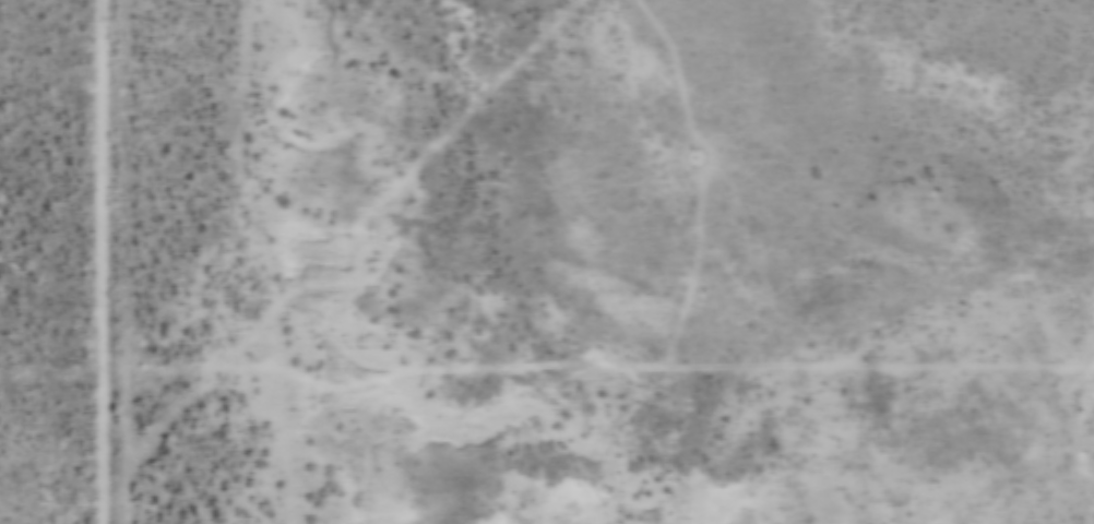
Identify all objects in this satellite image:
road: (102, 262)

